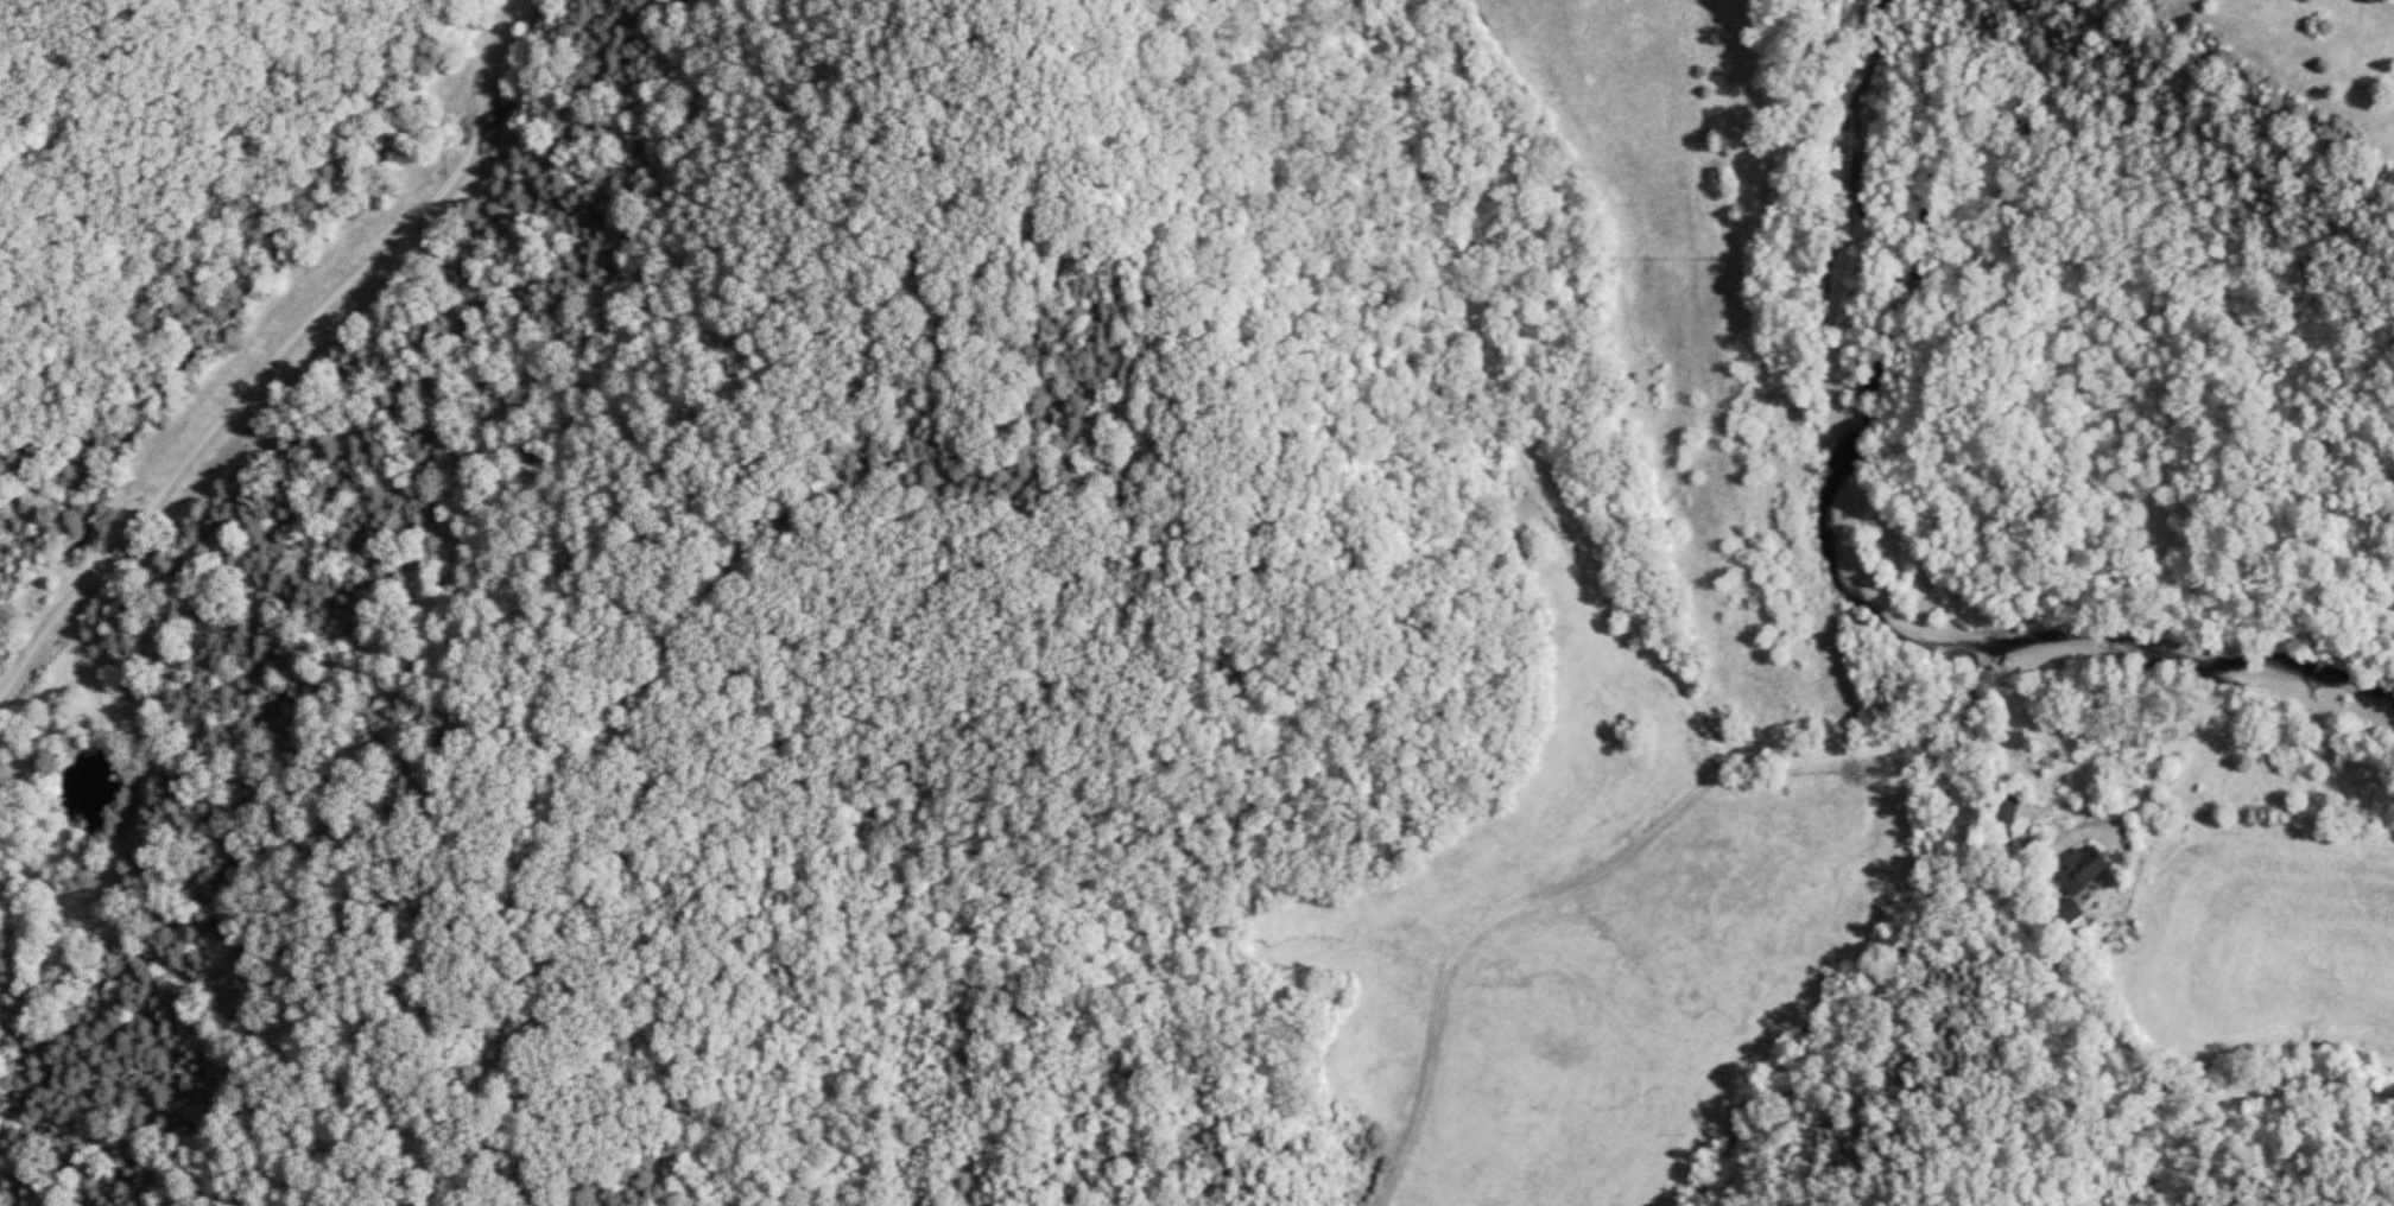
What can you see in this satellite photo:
road: (280, 358)
road: (1514, 398)
river: (1915, 556)
building: (2014, 737)
building: (2080, 877)
road: (1497, 928)
road: (2025, 939)

